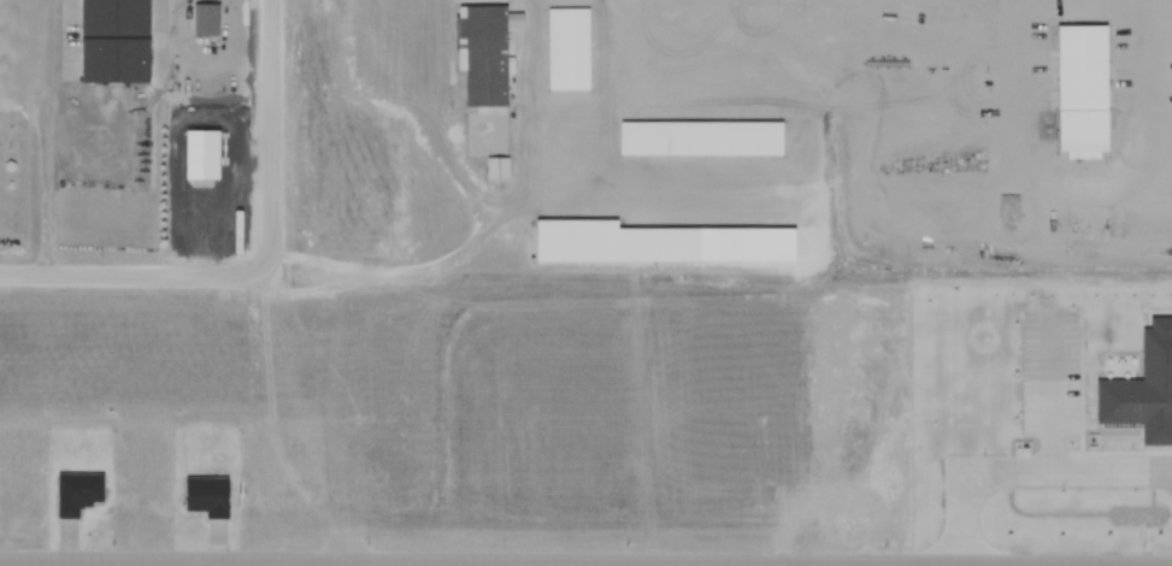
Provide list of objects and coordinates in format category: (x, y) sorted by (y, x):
building: (210, 17)
building: (111, 42)
building: (571, 47)
building: (10, 48)
building: (481, 55)
building: (1079, 89)
road: (267, 138)
building: (702, 141)
building: (611, 243)
road: (132, 275)
road: (585, 561)

